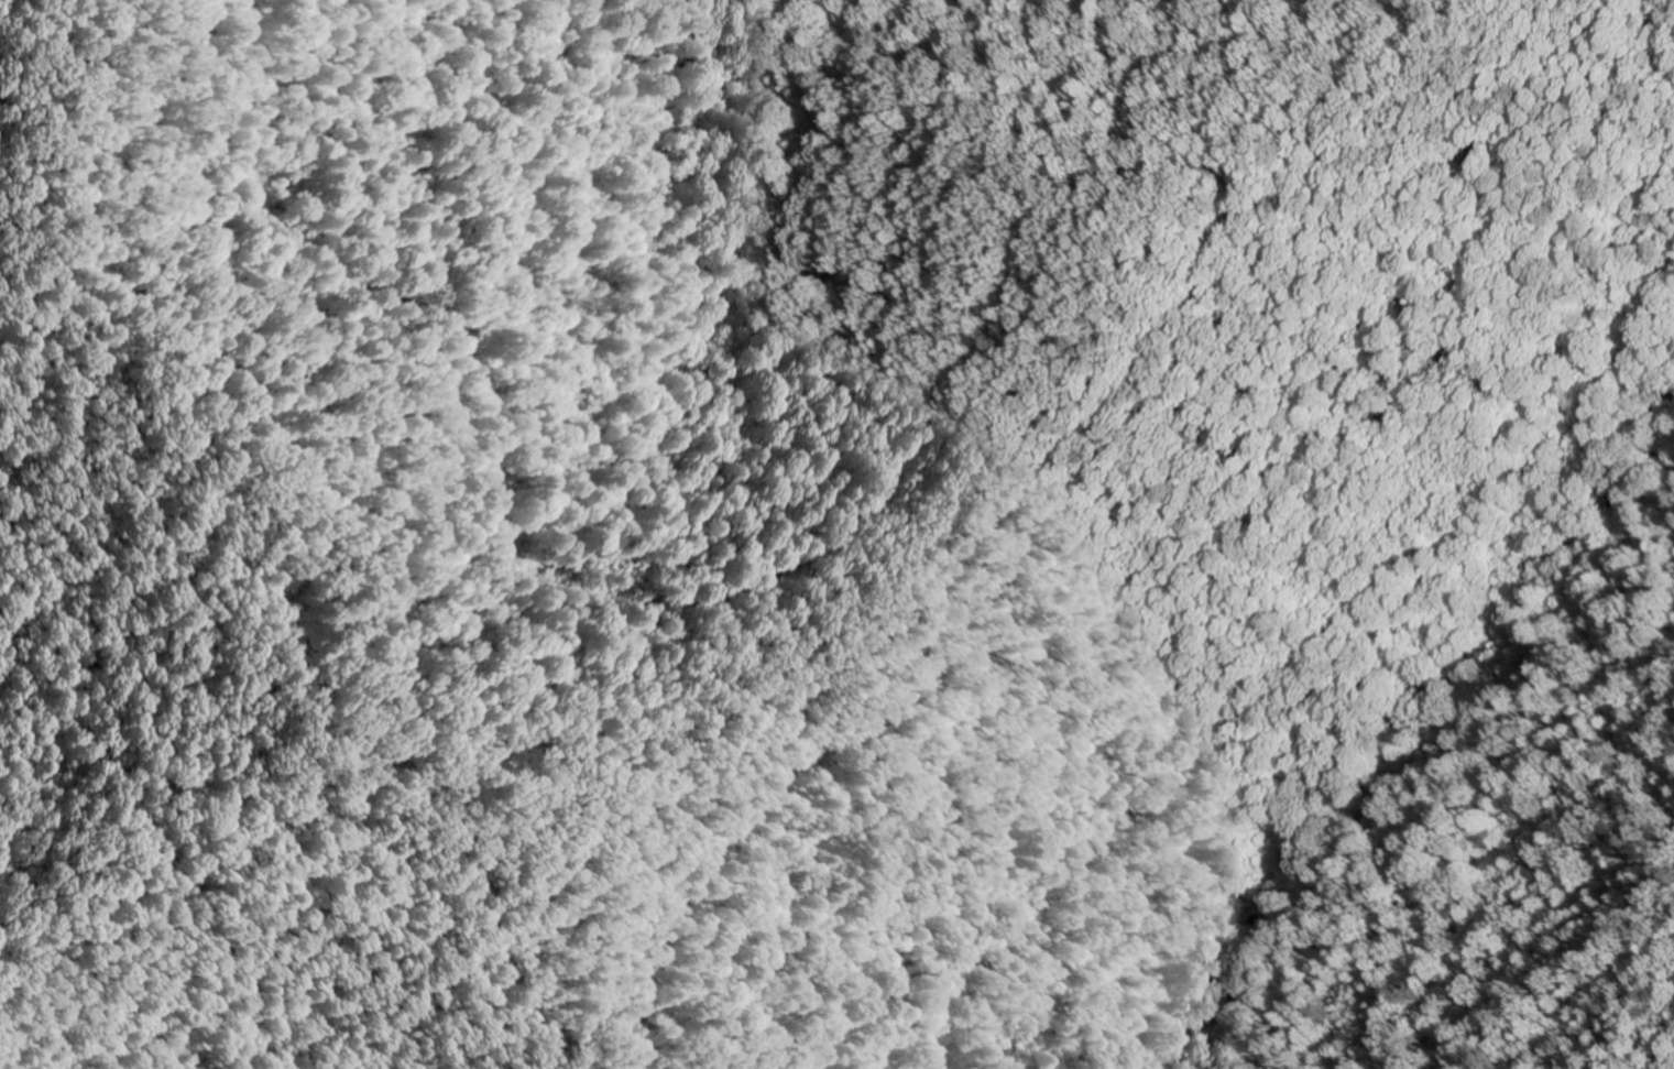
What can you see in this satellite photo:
road: (1590, 994)

